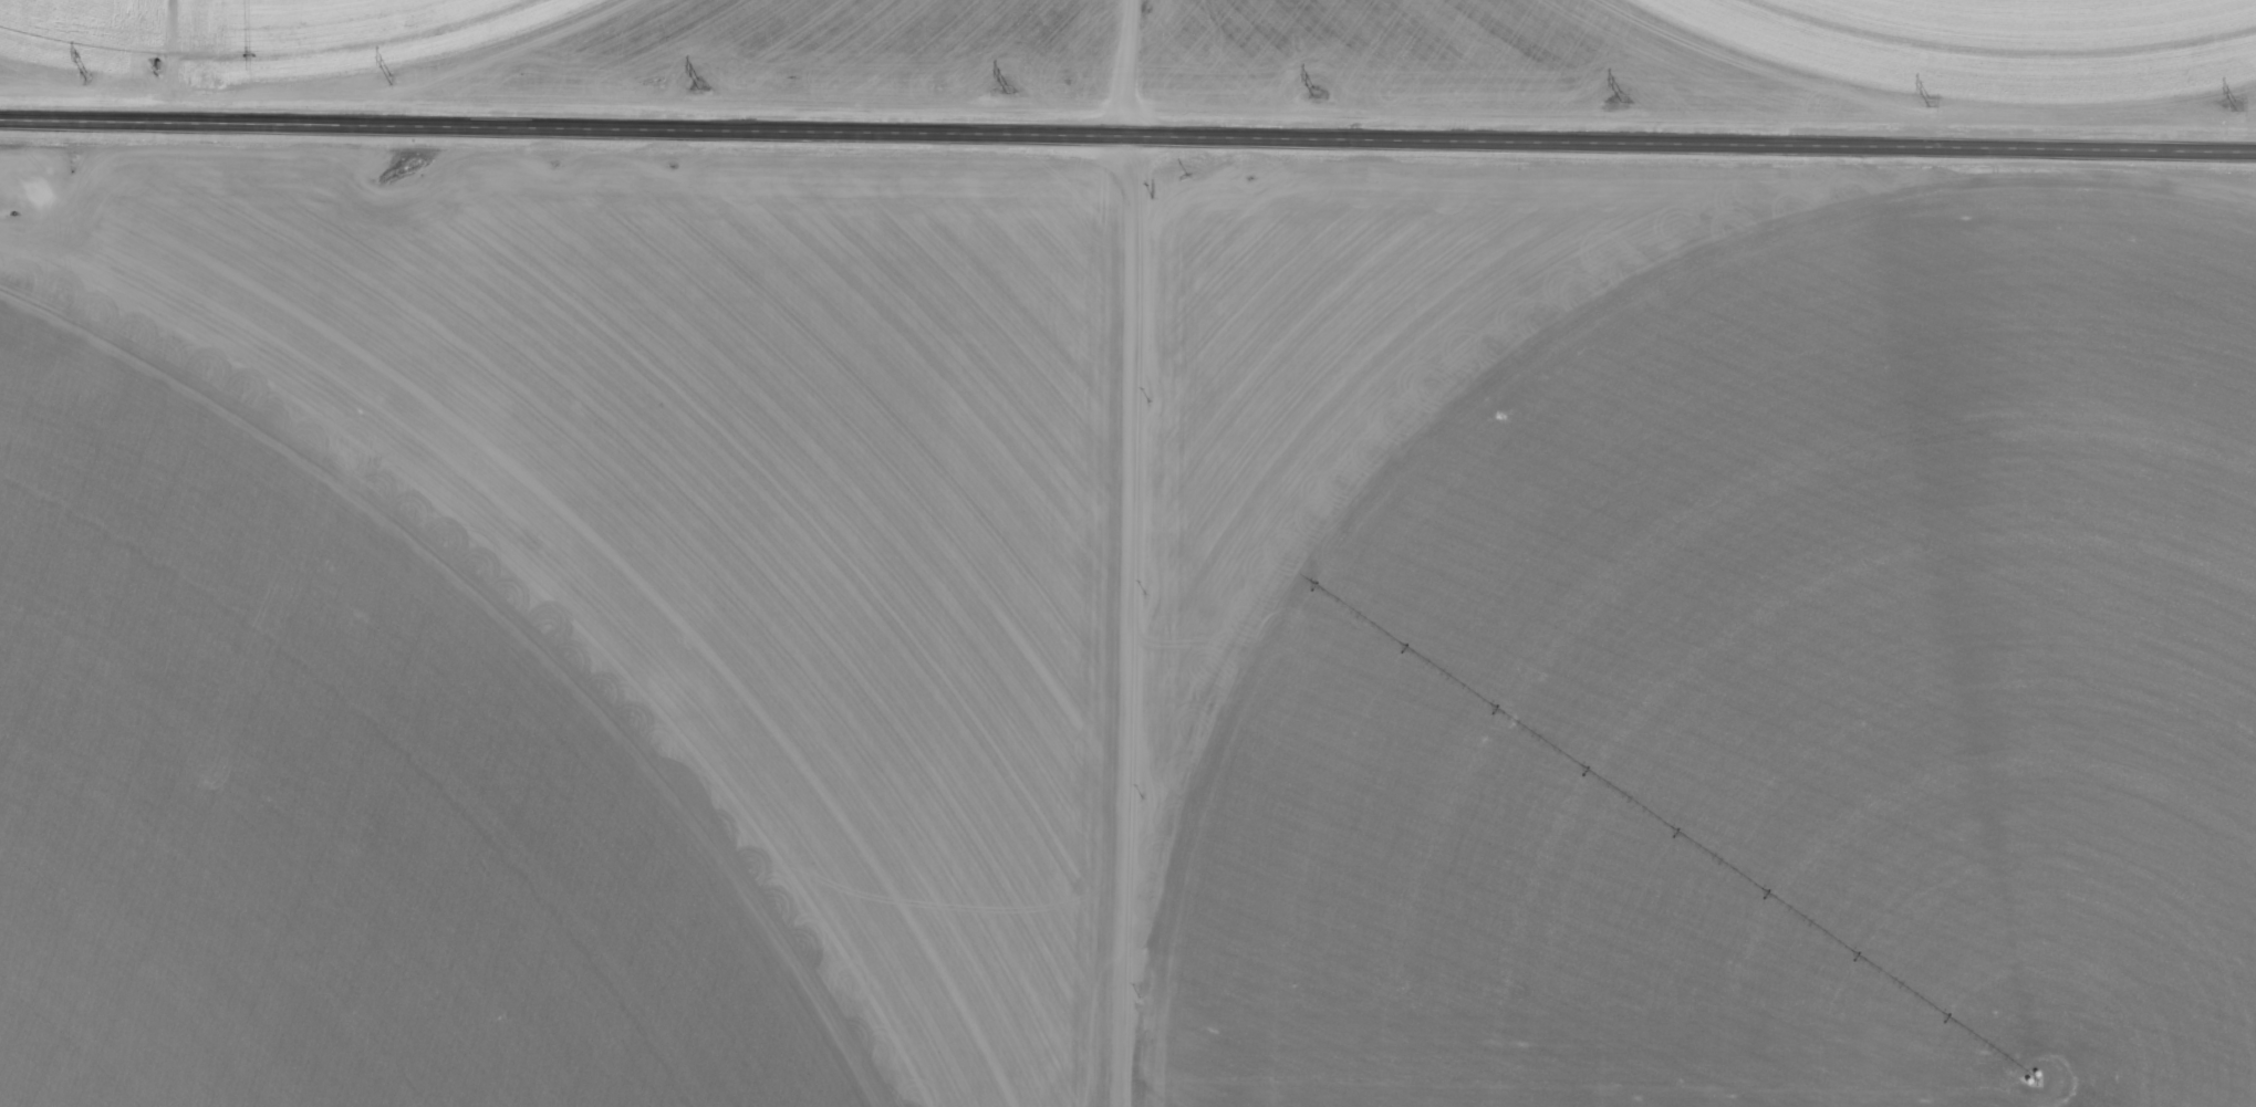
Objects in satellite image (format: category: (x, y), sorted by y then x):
road: (1127, 145)

